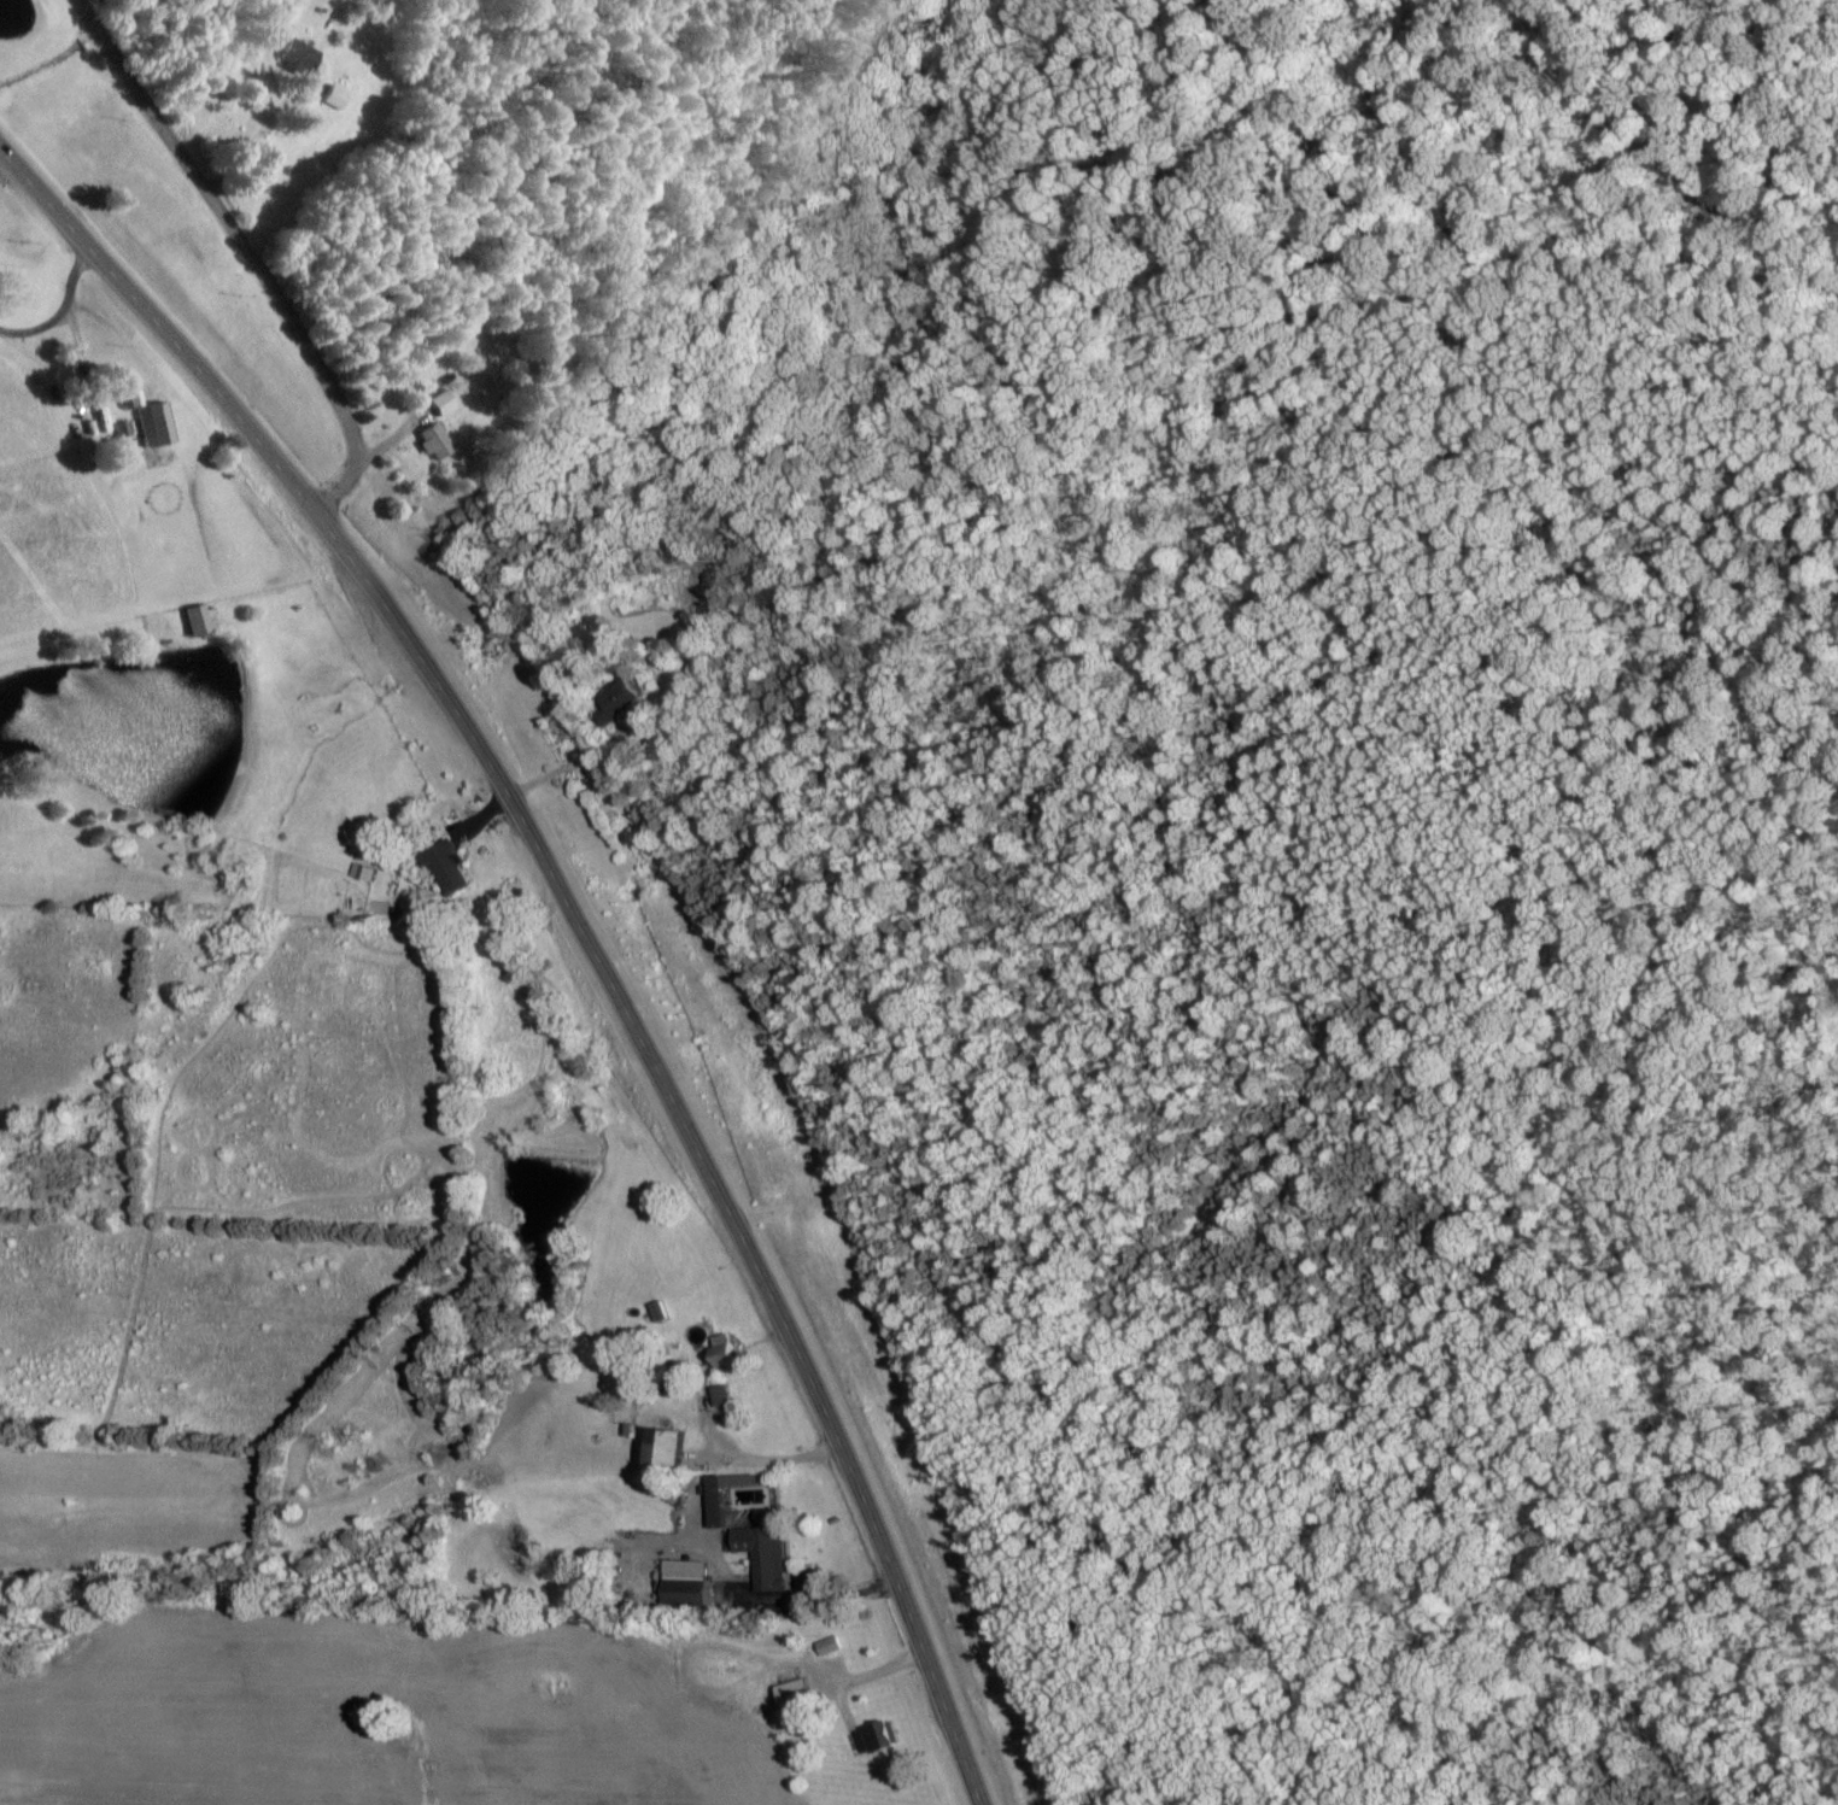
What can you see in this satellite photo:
building: (303, 55)
building: (340, 98)
road: (246, 250)
road: (60, 312)
building: (444, 402)
building: (153, 417)
building: (438, 441)
building: (201, 619)
building: (625, 698)
road: (574, 762)
building: (453, 868)
building: (367, 871)
road: (579, 924)
building: (727, 1352)
building: (677, 1448)
road: (755, 1457)
building: (721, 1501)
building: (767, 1555)
building: (690, 1582)
building: (826, 1646)

